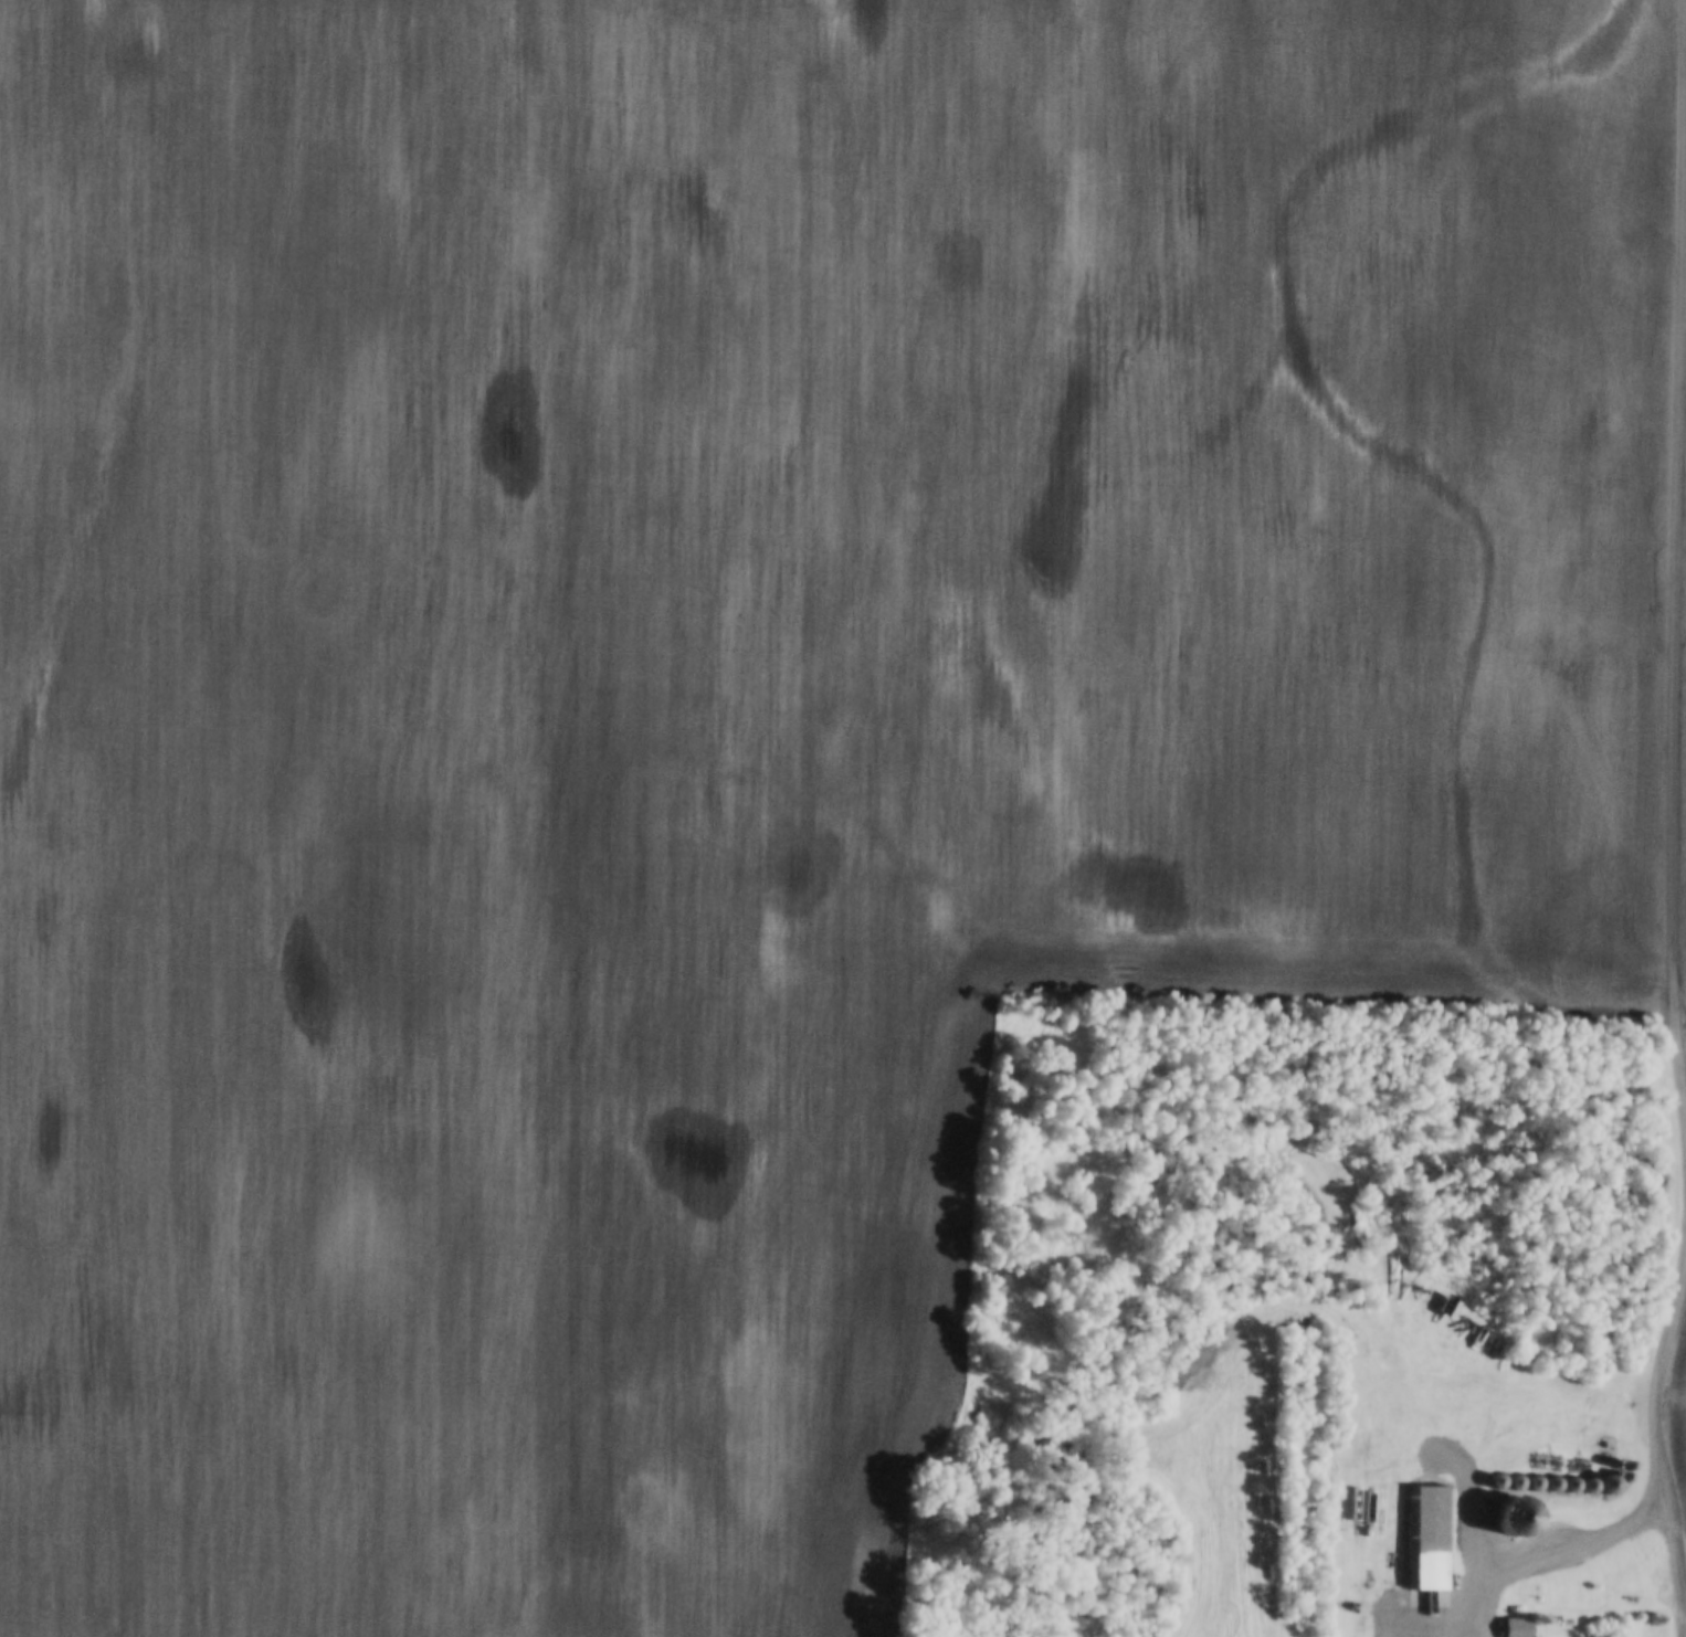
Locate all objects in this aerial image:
road: (1678, 697)
building: (1665, 1163)
silo: (1665, 1163)
building: (1664, 1182)
silo: (1664, 1182)
building: (1661, 1201)
silo: (1661, 1201)
building: (1661, 1219)
silo: (1661, 1219)
road: (1663, 1411)
building: (1636, 1466)
silo: (1636, 1466)
building: (1247, 1468)
building: (1633, 1478)
silo: (1633, 1478)
building: (1503, 1481)
silo: (1503, 1481)
building: (1520, 1482)
silo: (1520, 1482)
building: (1540, 1483)
silo: (1540, 1483)
building: (1559, 1485)
silo: (1559, 1485)
building: (1578, 1485)
silo: (1578, 1485)
building: (1616, 1485)
silo: (1616, 1485)
building: (1595, 1486)
silo: (1595, 1486)
building: (1429, 1539)
road: (1532, 1562)
building: (1519, 1628)

